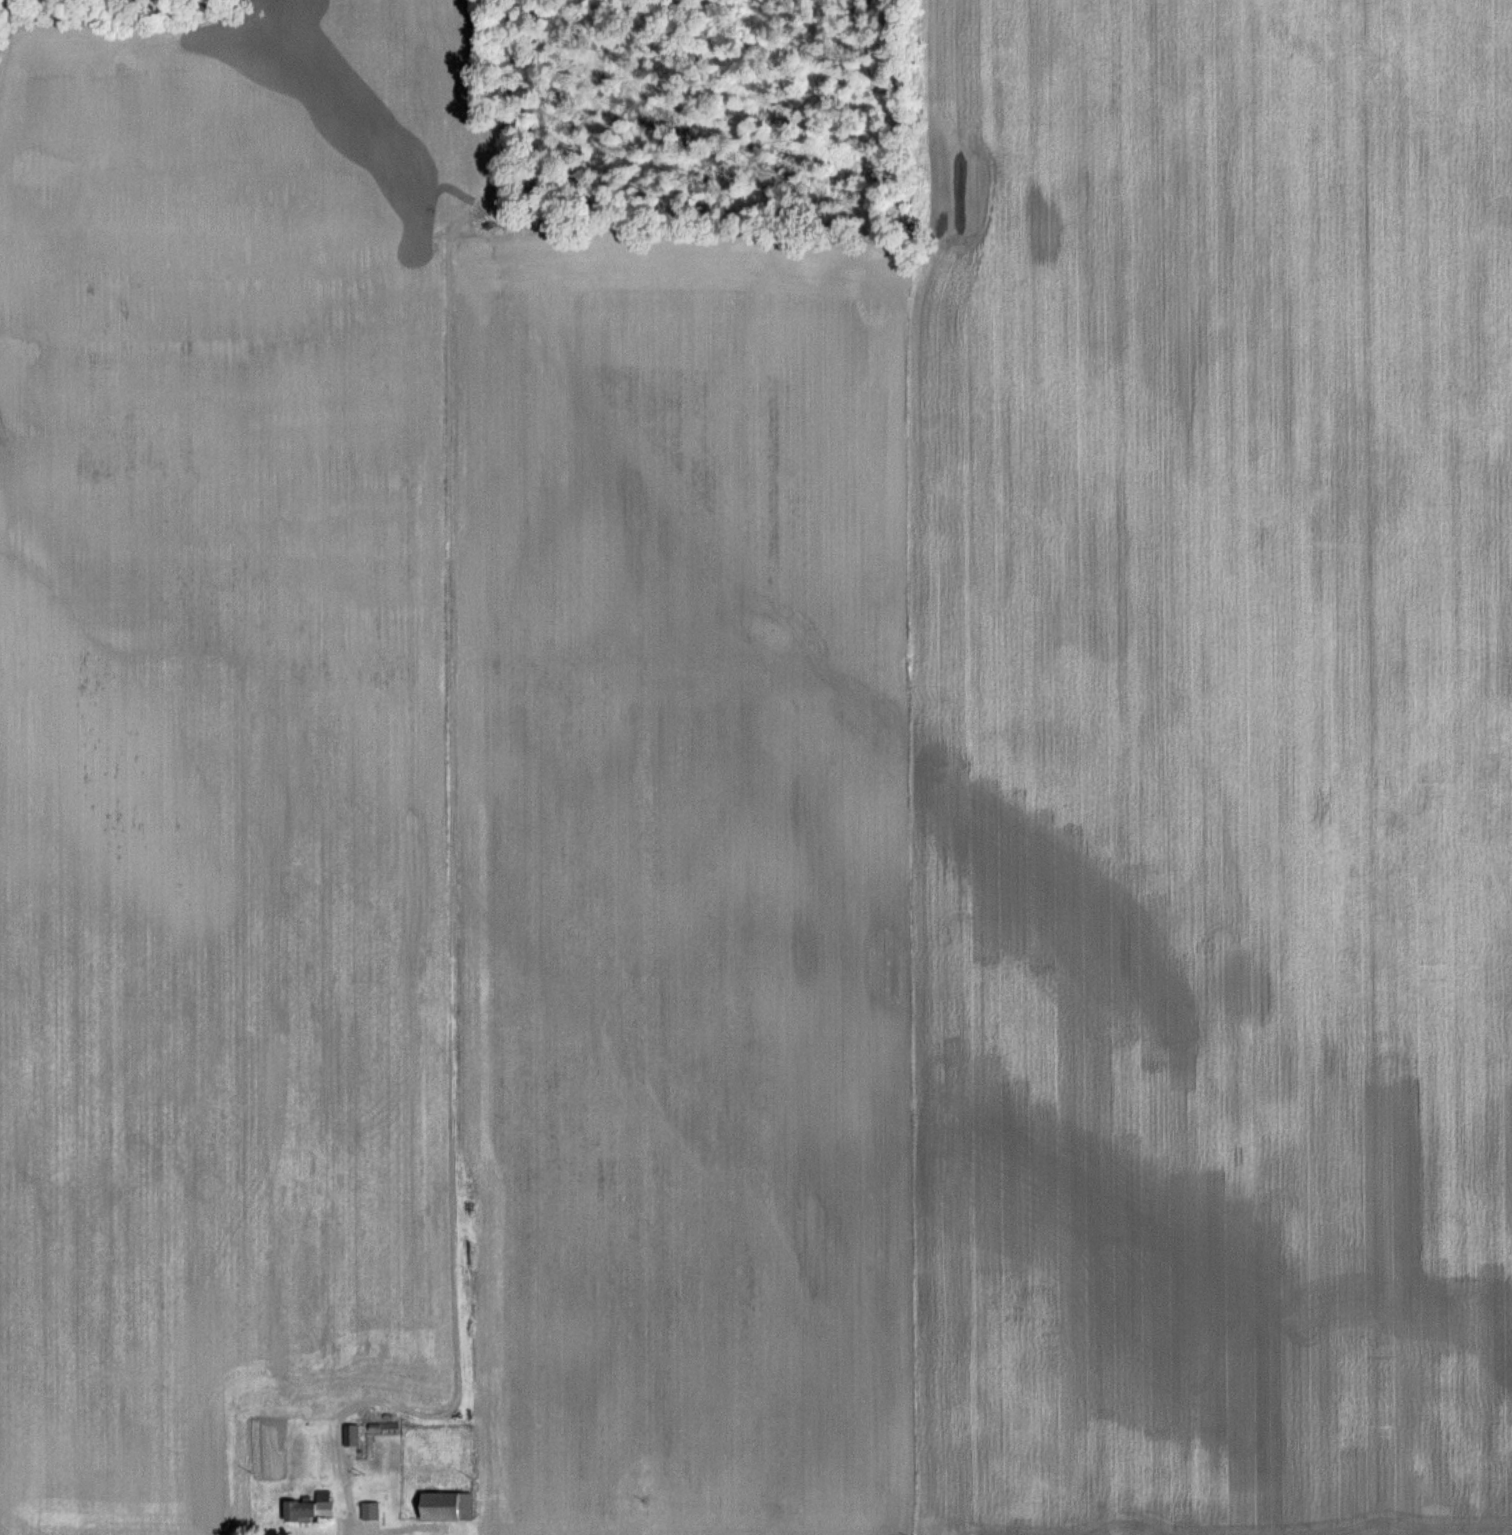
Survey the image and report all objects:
building: (352, 1435)
building: (448, 1506)
building: (311, 1507)
building: (372, 1511)

